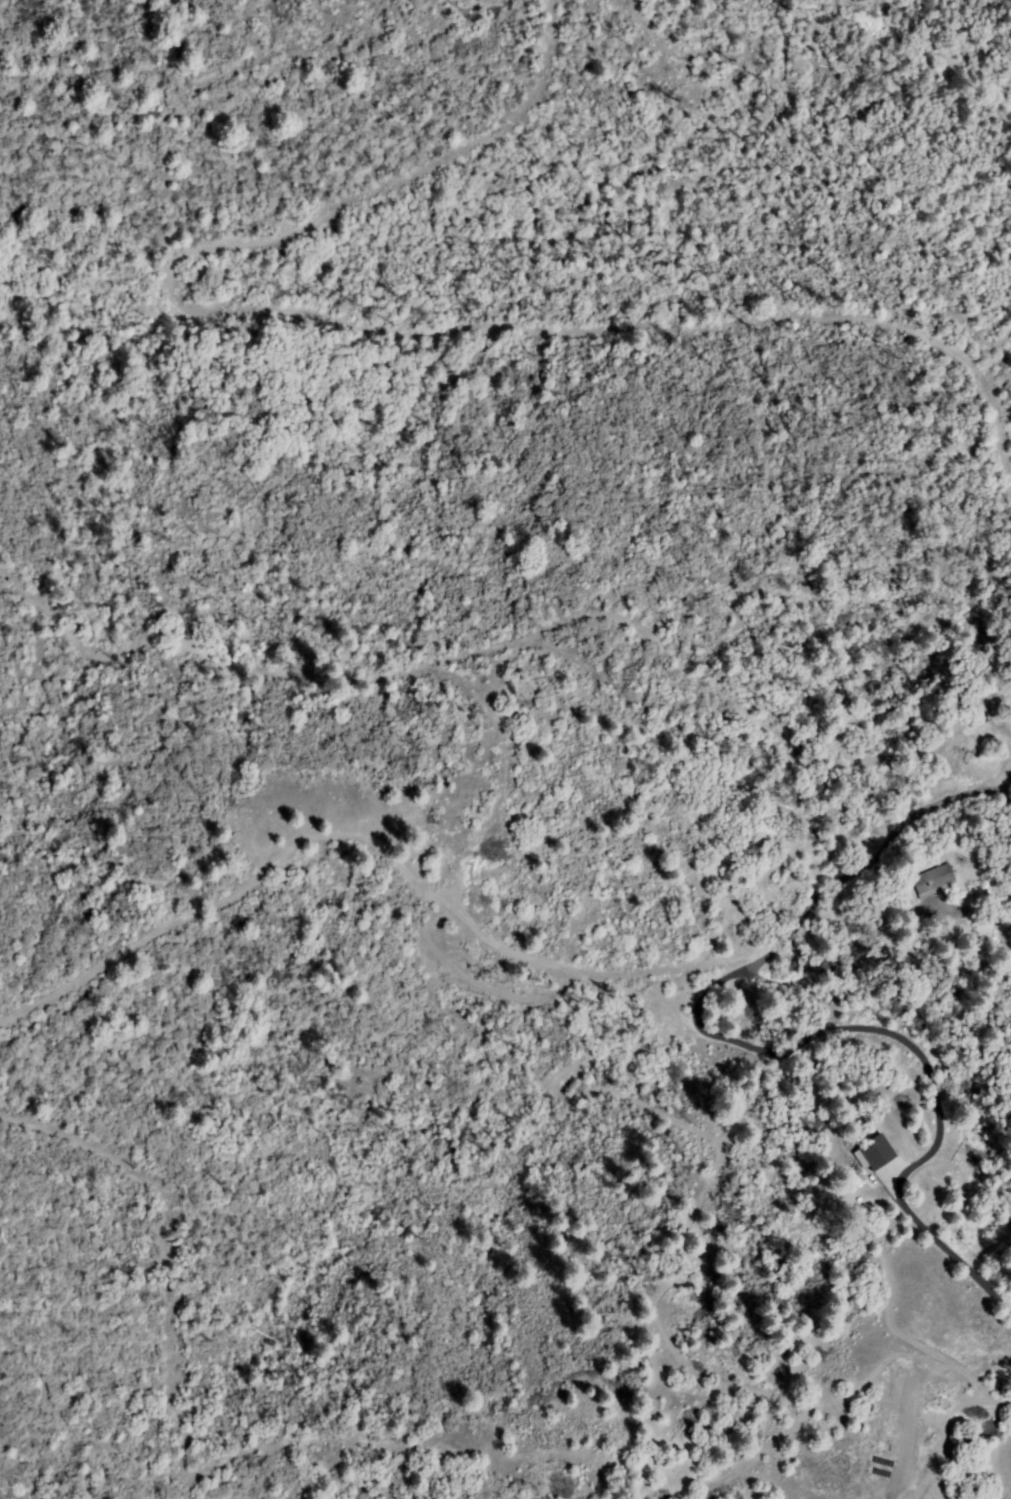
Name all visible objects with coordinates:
building: (933, 880)
road: (708, 1031)
building: (876, 1155)

